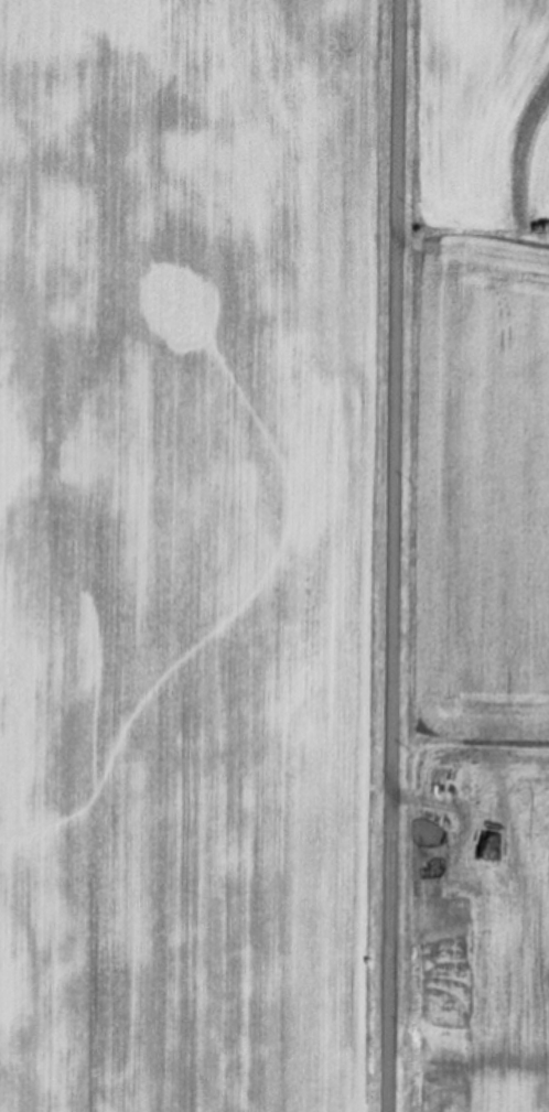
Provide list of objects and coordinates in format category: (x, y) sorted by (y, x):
road: (390, 555)

